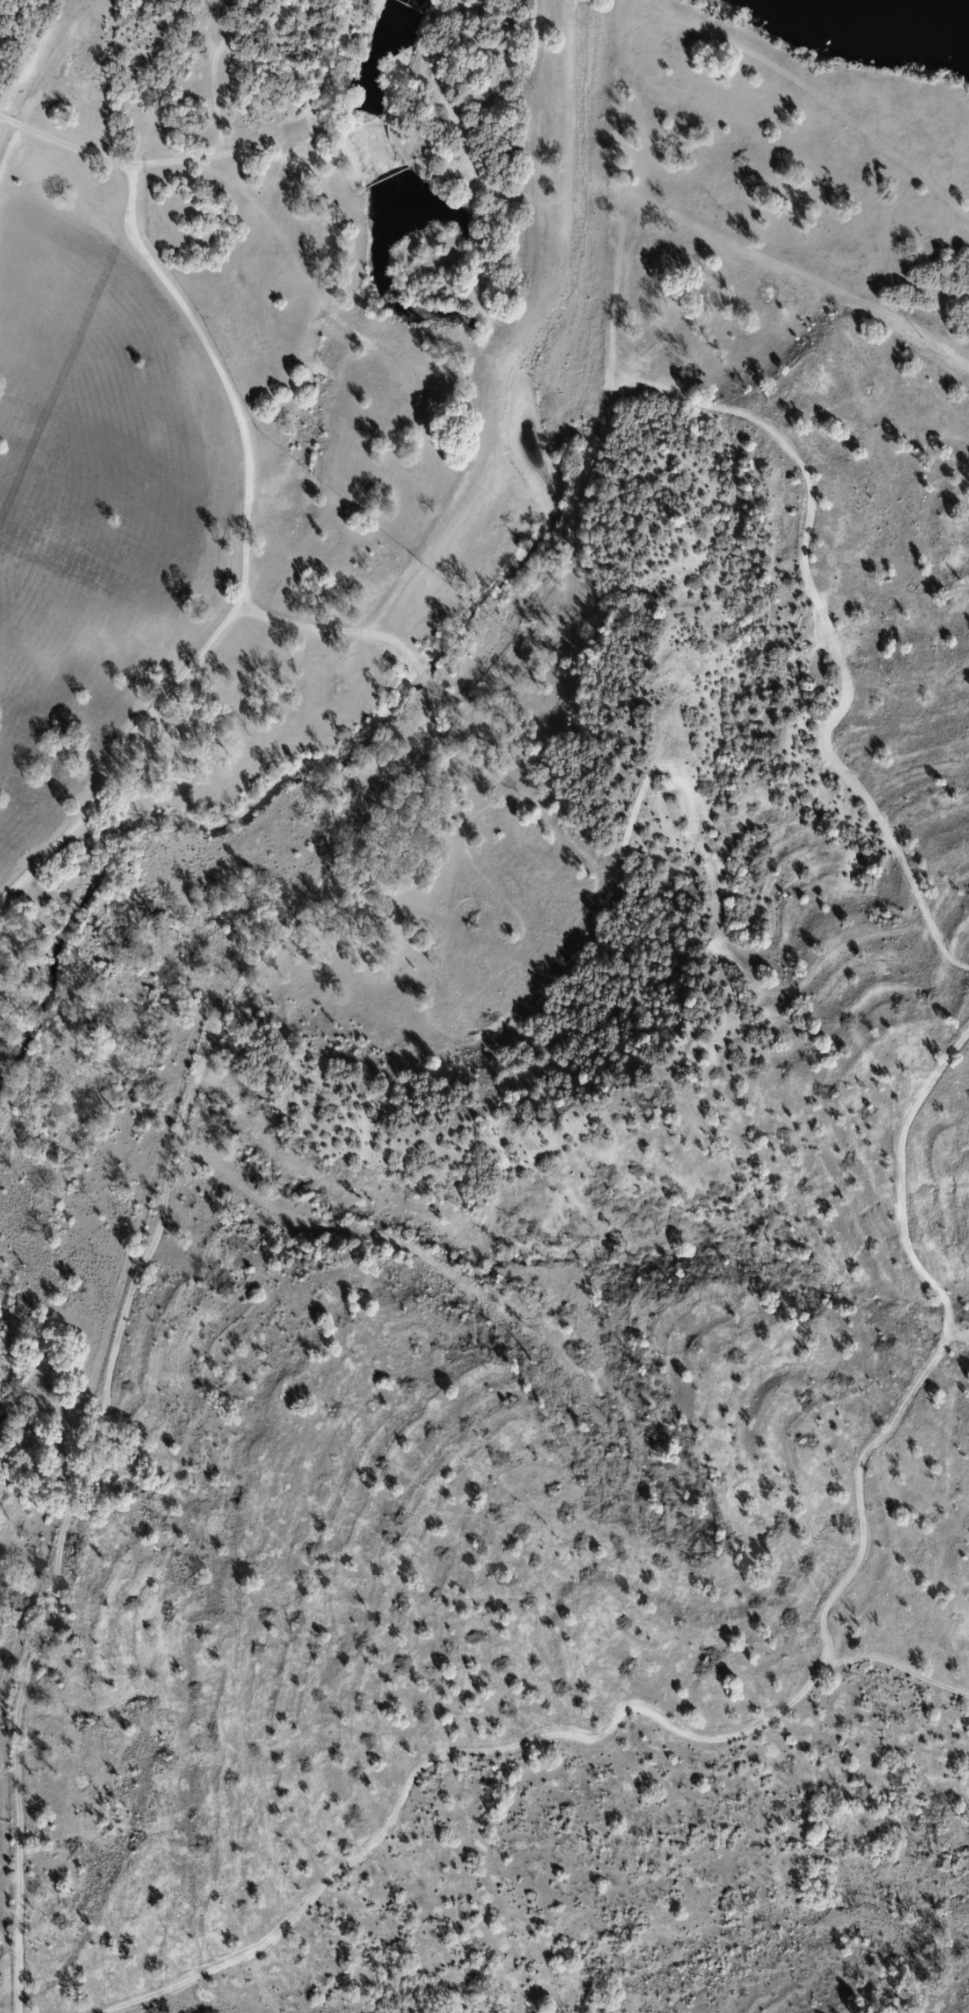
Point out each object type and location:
road: (68, 152)
road: (250, 486)

